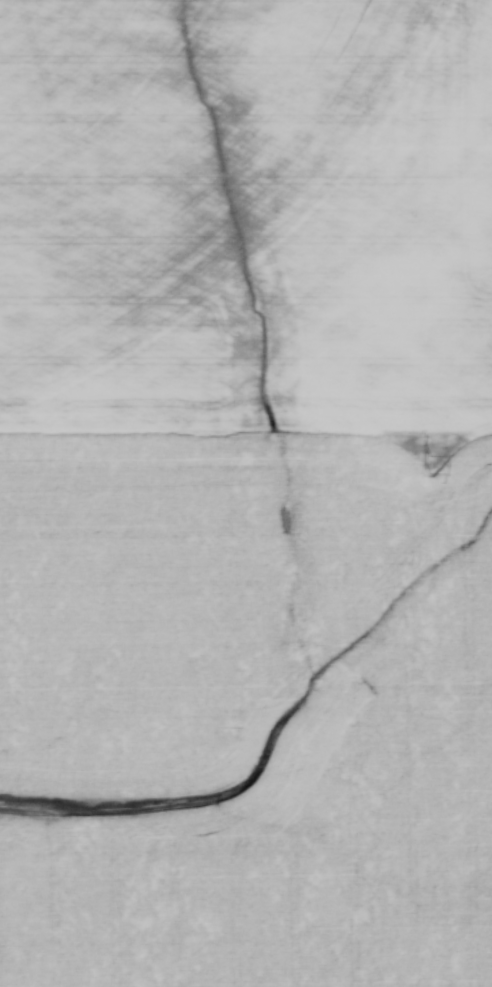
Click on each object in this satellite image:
power tower: (430, 461)

